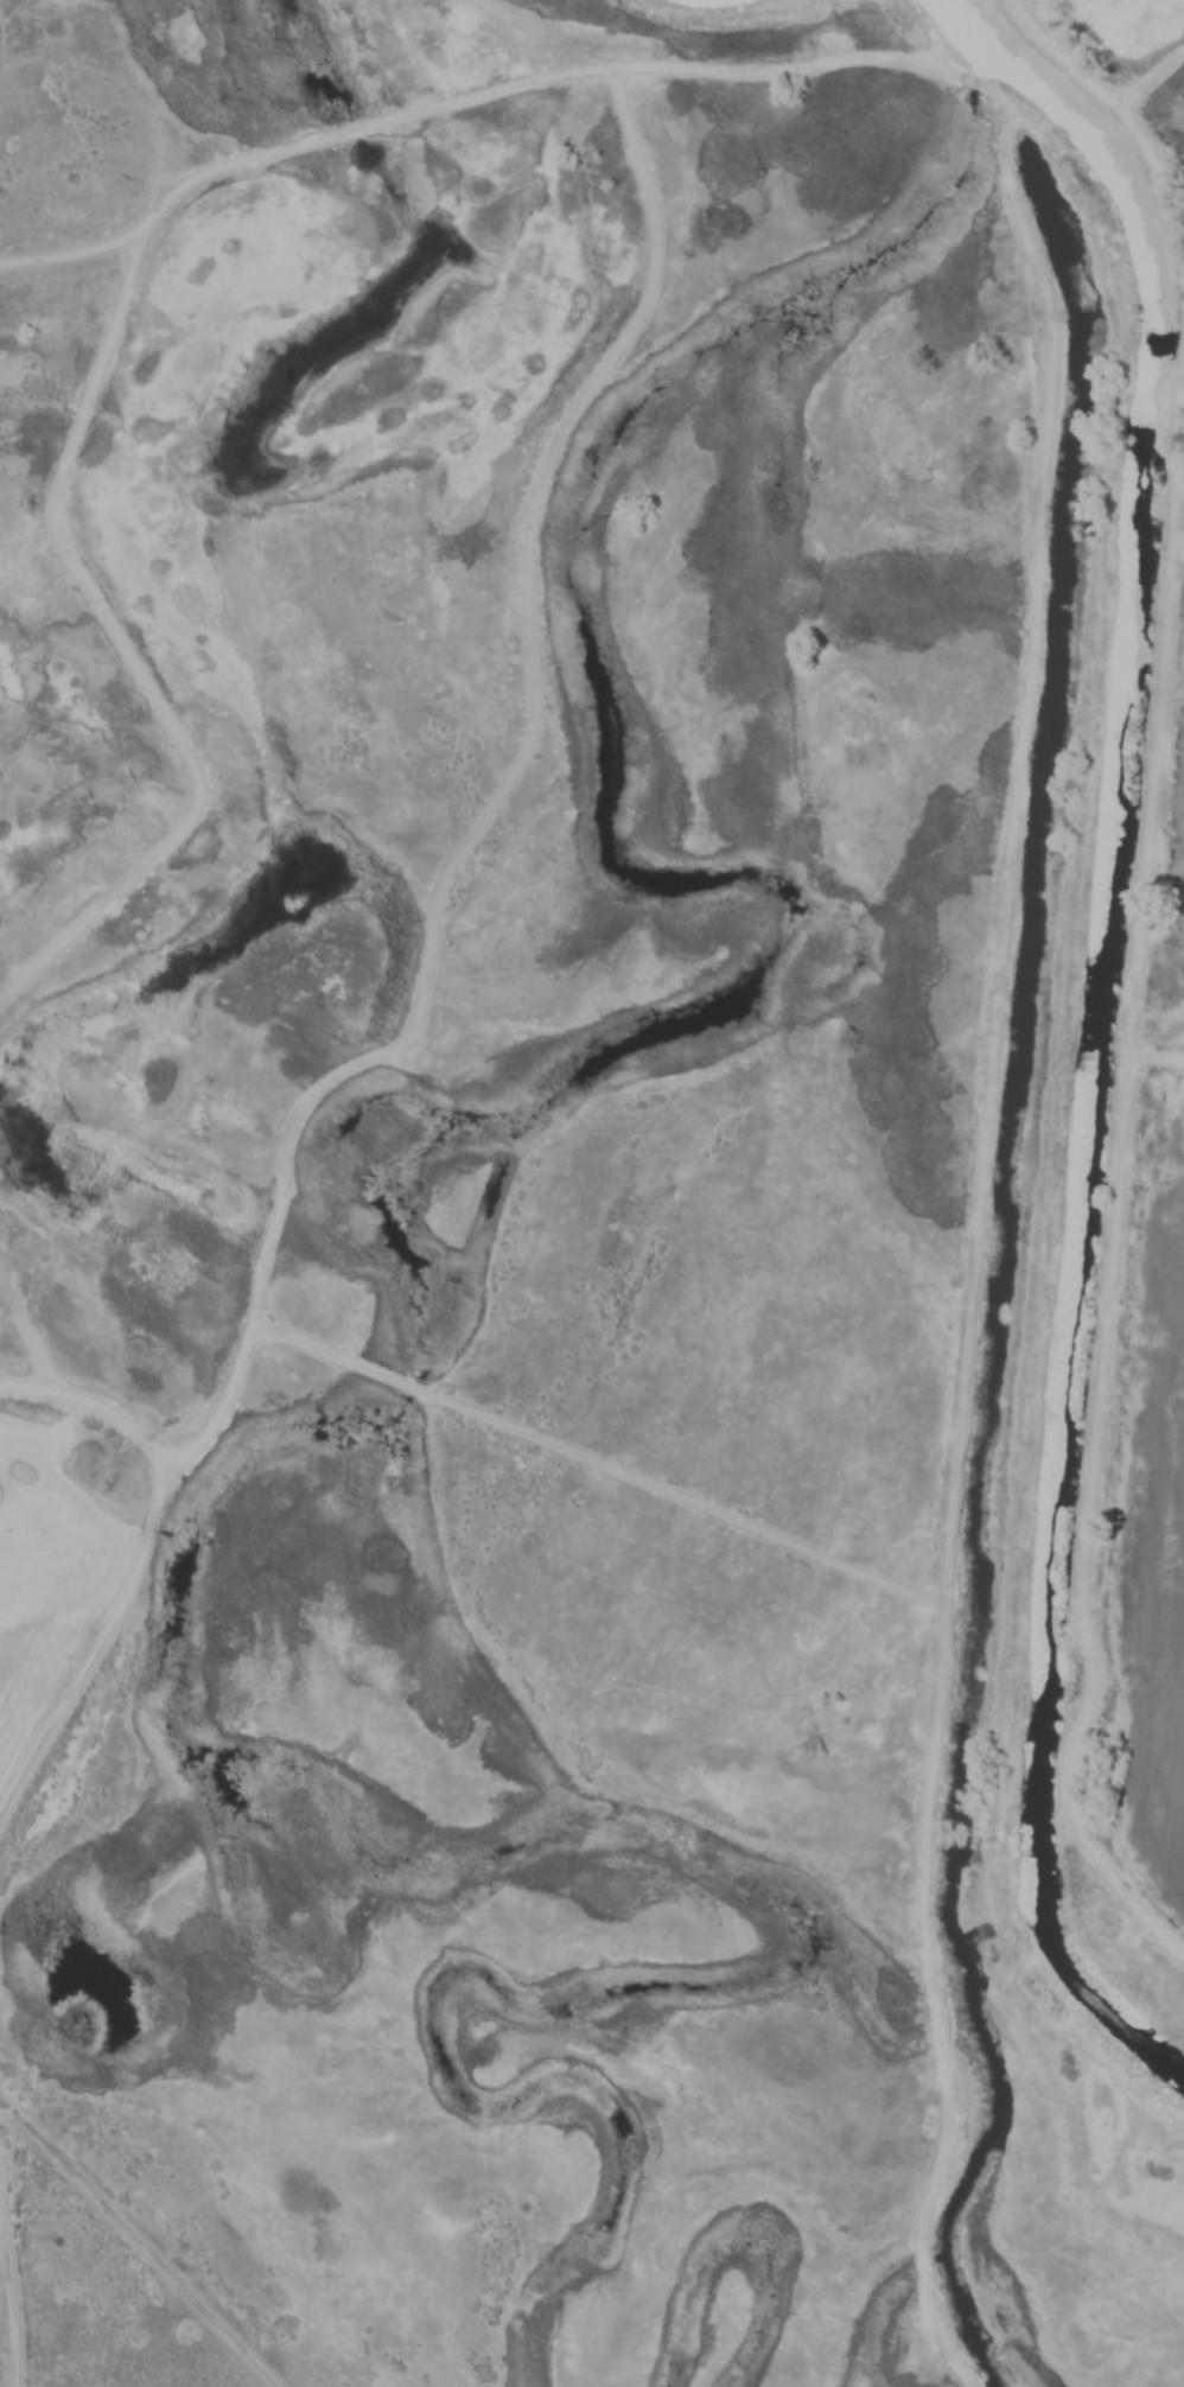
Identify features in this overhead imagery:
road: (1082, 85)
road: (127, 1566)
road: (146, 2246)
road: (2, 2344)

